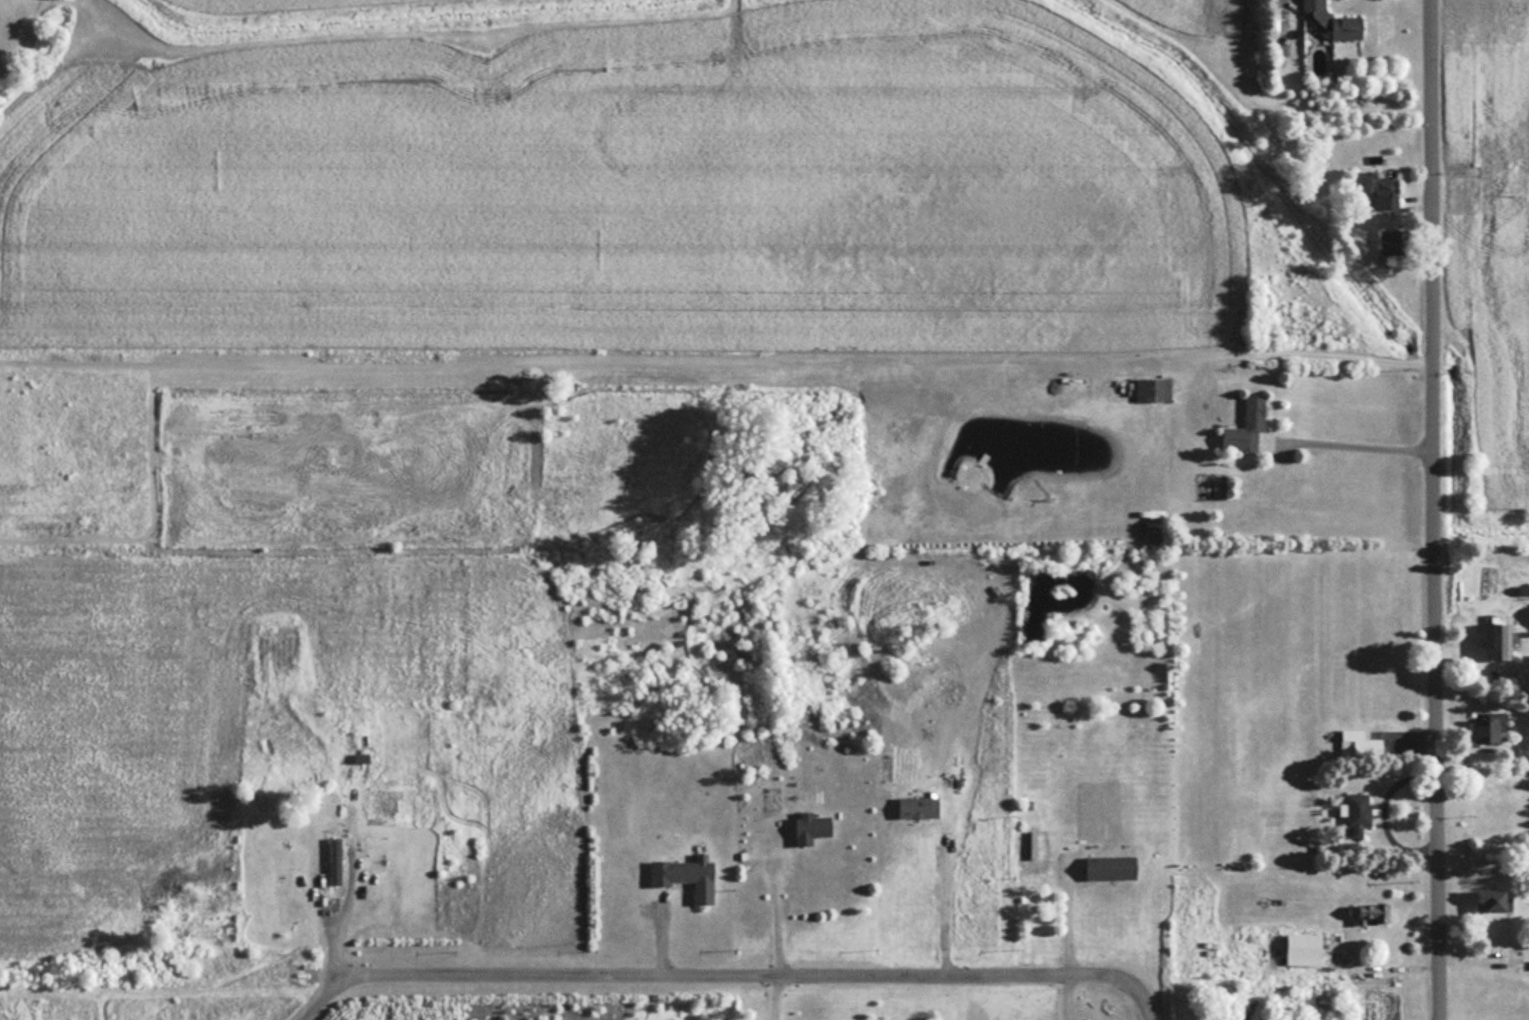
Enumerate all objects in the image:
road: (1278, 2)
building: (1332, 21)
building: (1385, 192)
building: (1393, 240)
building: (1152, 388)
building: (1253, 420)
road: (1350, 435)
road: (1433, 510)
building: (1500, 641)
building: (1488, 727)
building: (1359, 743)
building: (362, 757)
building: (919, 806)
building: (1358, 812)
building: (812, 827)
building: (336, 859)
building: (1113, 866)
building: (689, 875)
road: (944, 898)
building: (1495, 899)
road: (1067, 908)
road: (775, 910)
building: (1370, 911)
building: (1304, 948)
road: (690, 969)
road: (1116, 975)

